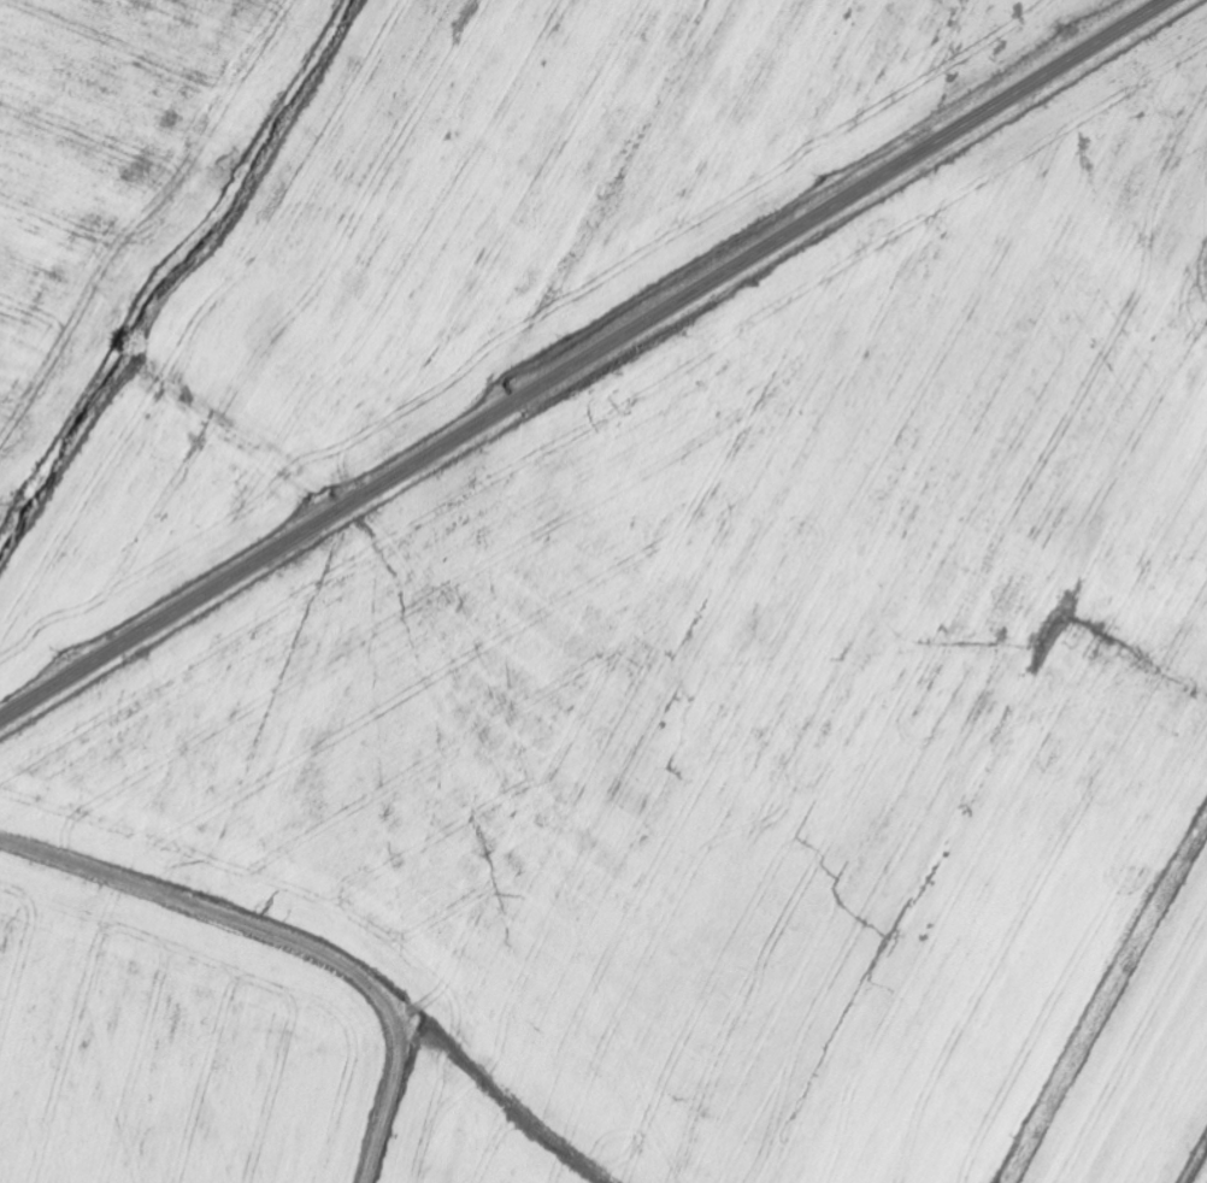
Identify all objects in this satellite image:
road: (584, 360)
road: (288, 938)

